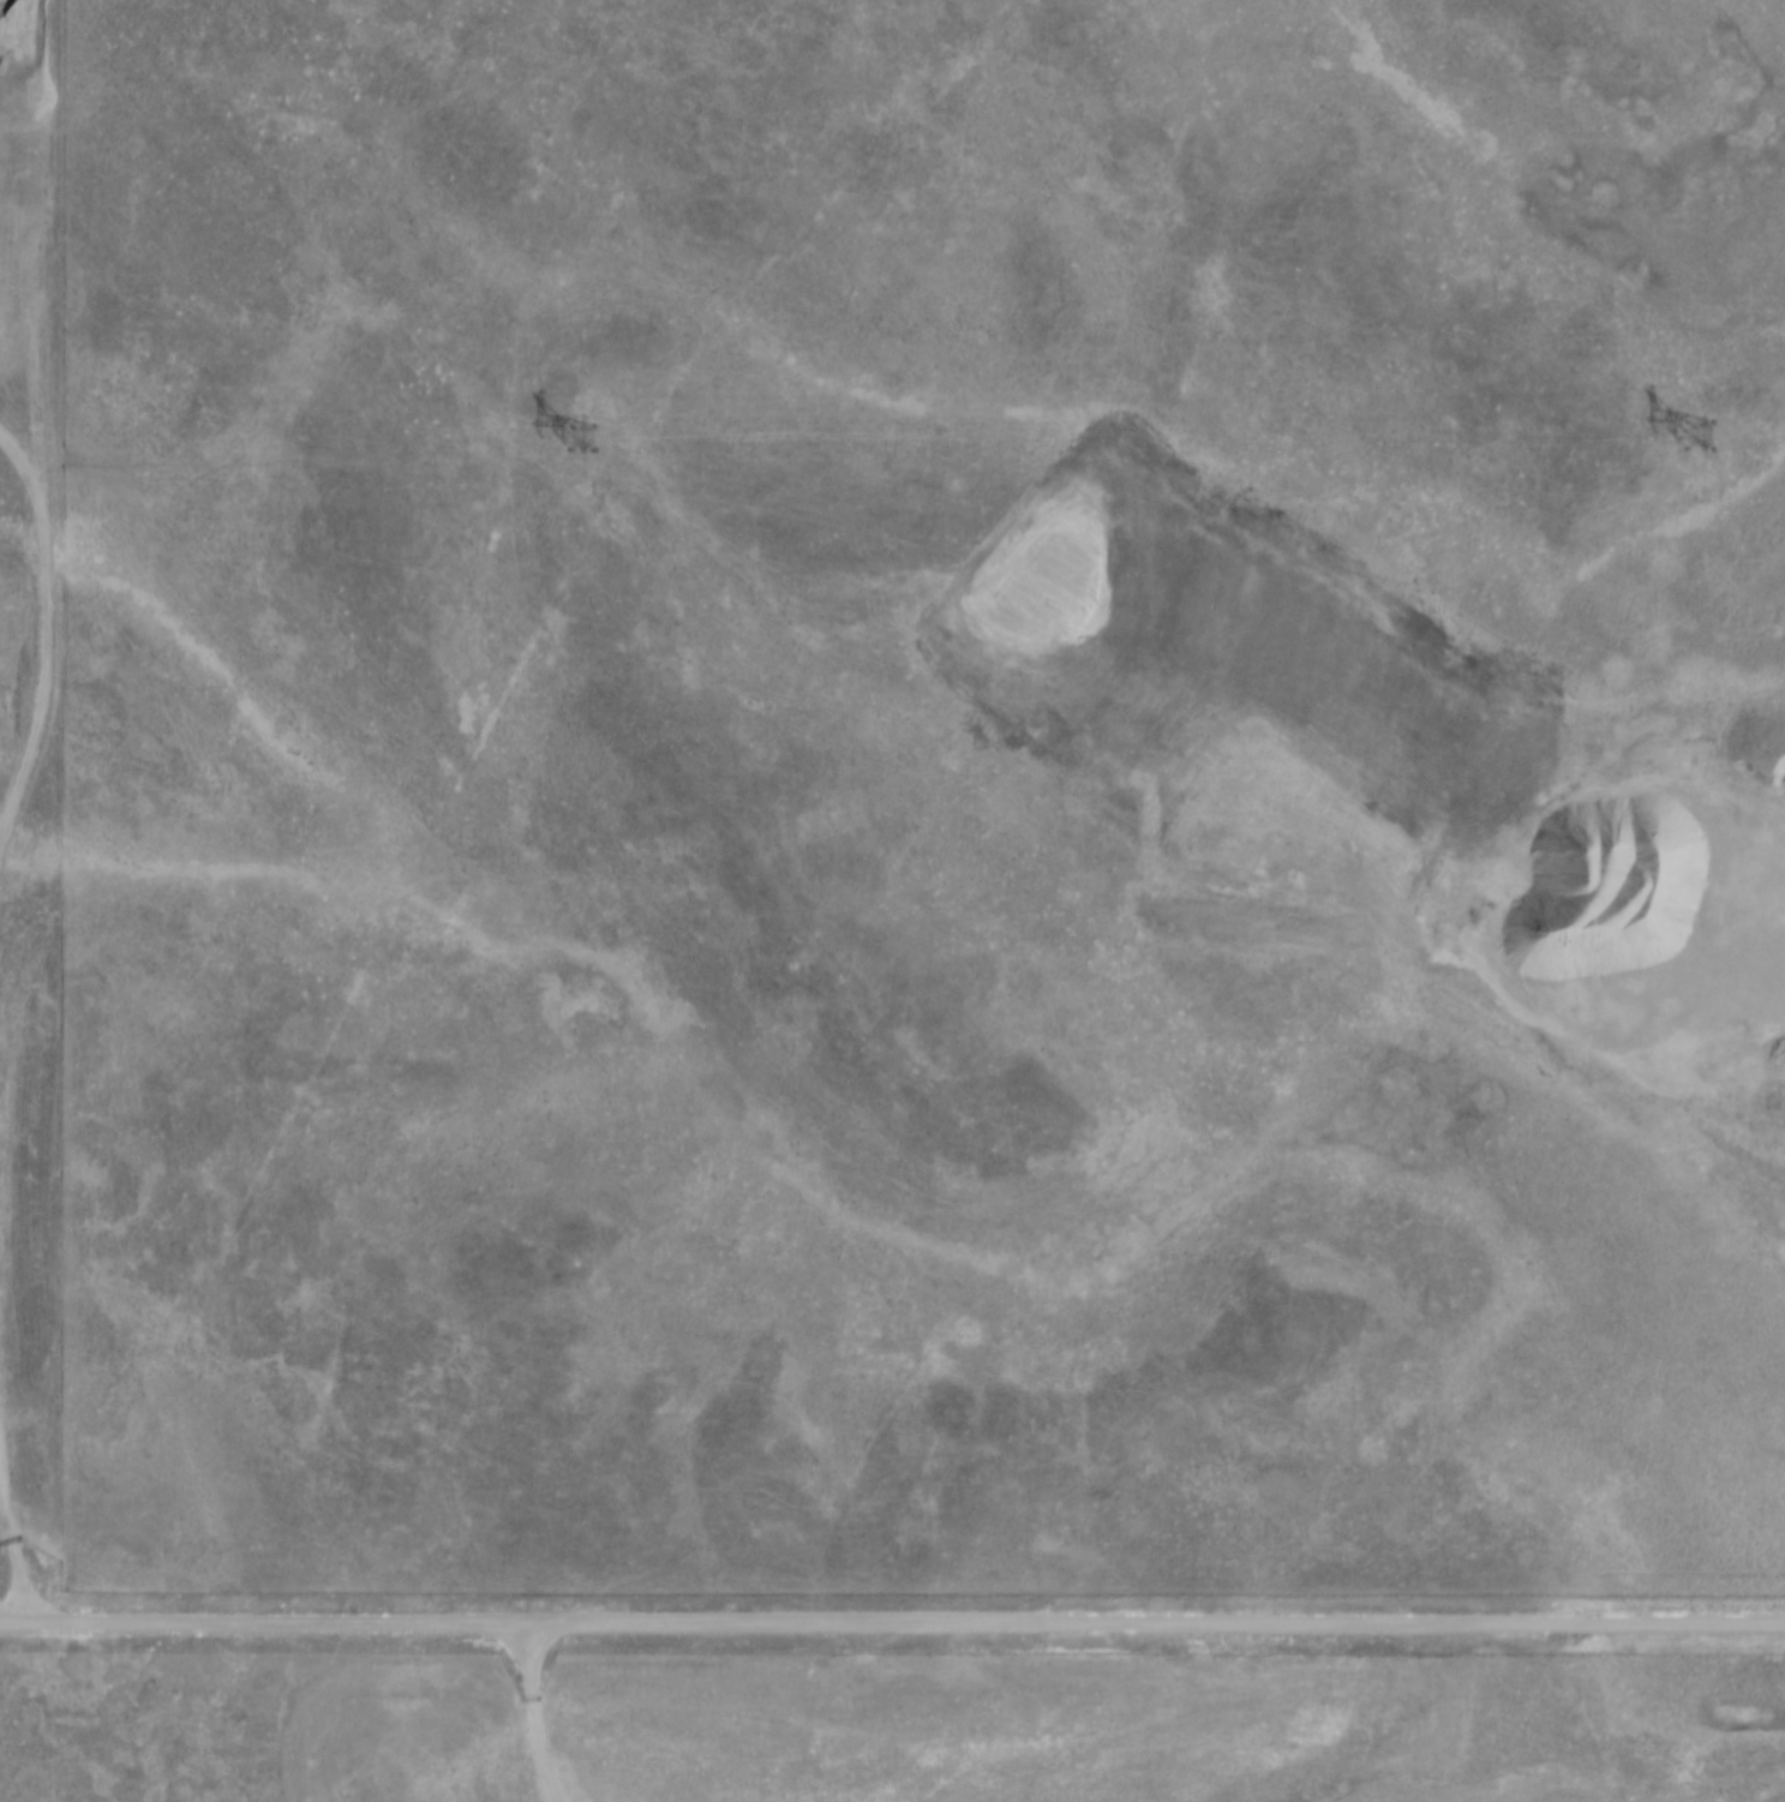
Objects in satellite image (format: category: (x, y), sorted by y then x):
power tower: (1691, 438)
power tower: (577, 439)
quarry: (1455, 825)
road: (892, 1626)
road: (537, 1716)
quarry: (1767, 1796)

